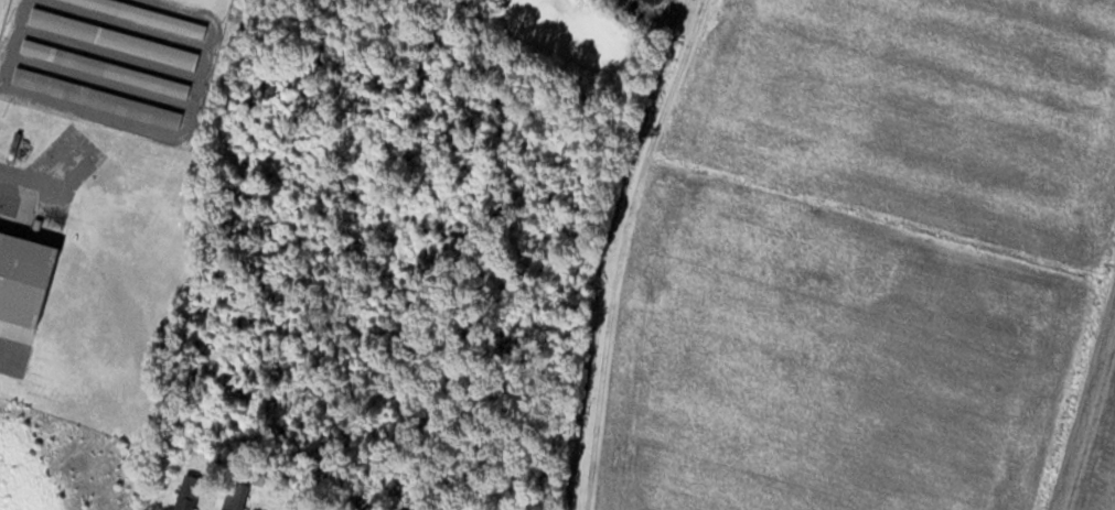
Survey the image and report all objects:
building: (147, 14)
building: (112, 37)
building: (105, 67)
building: (96, 97)
building: (23, 276)
building: (185, 498)

